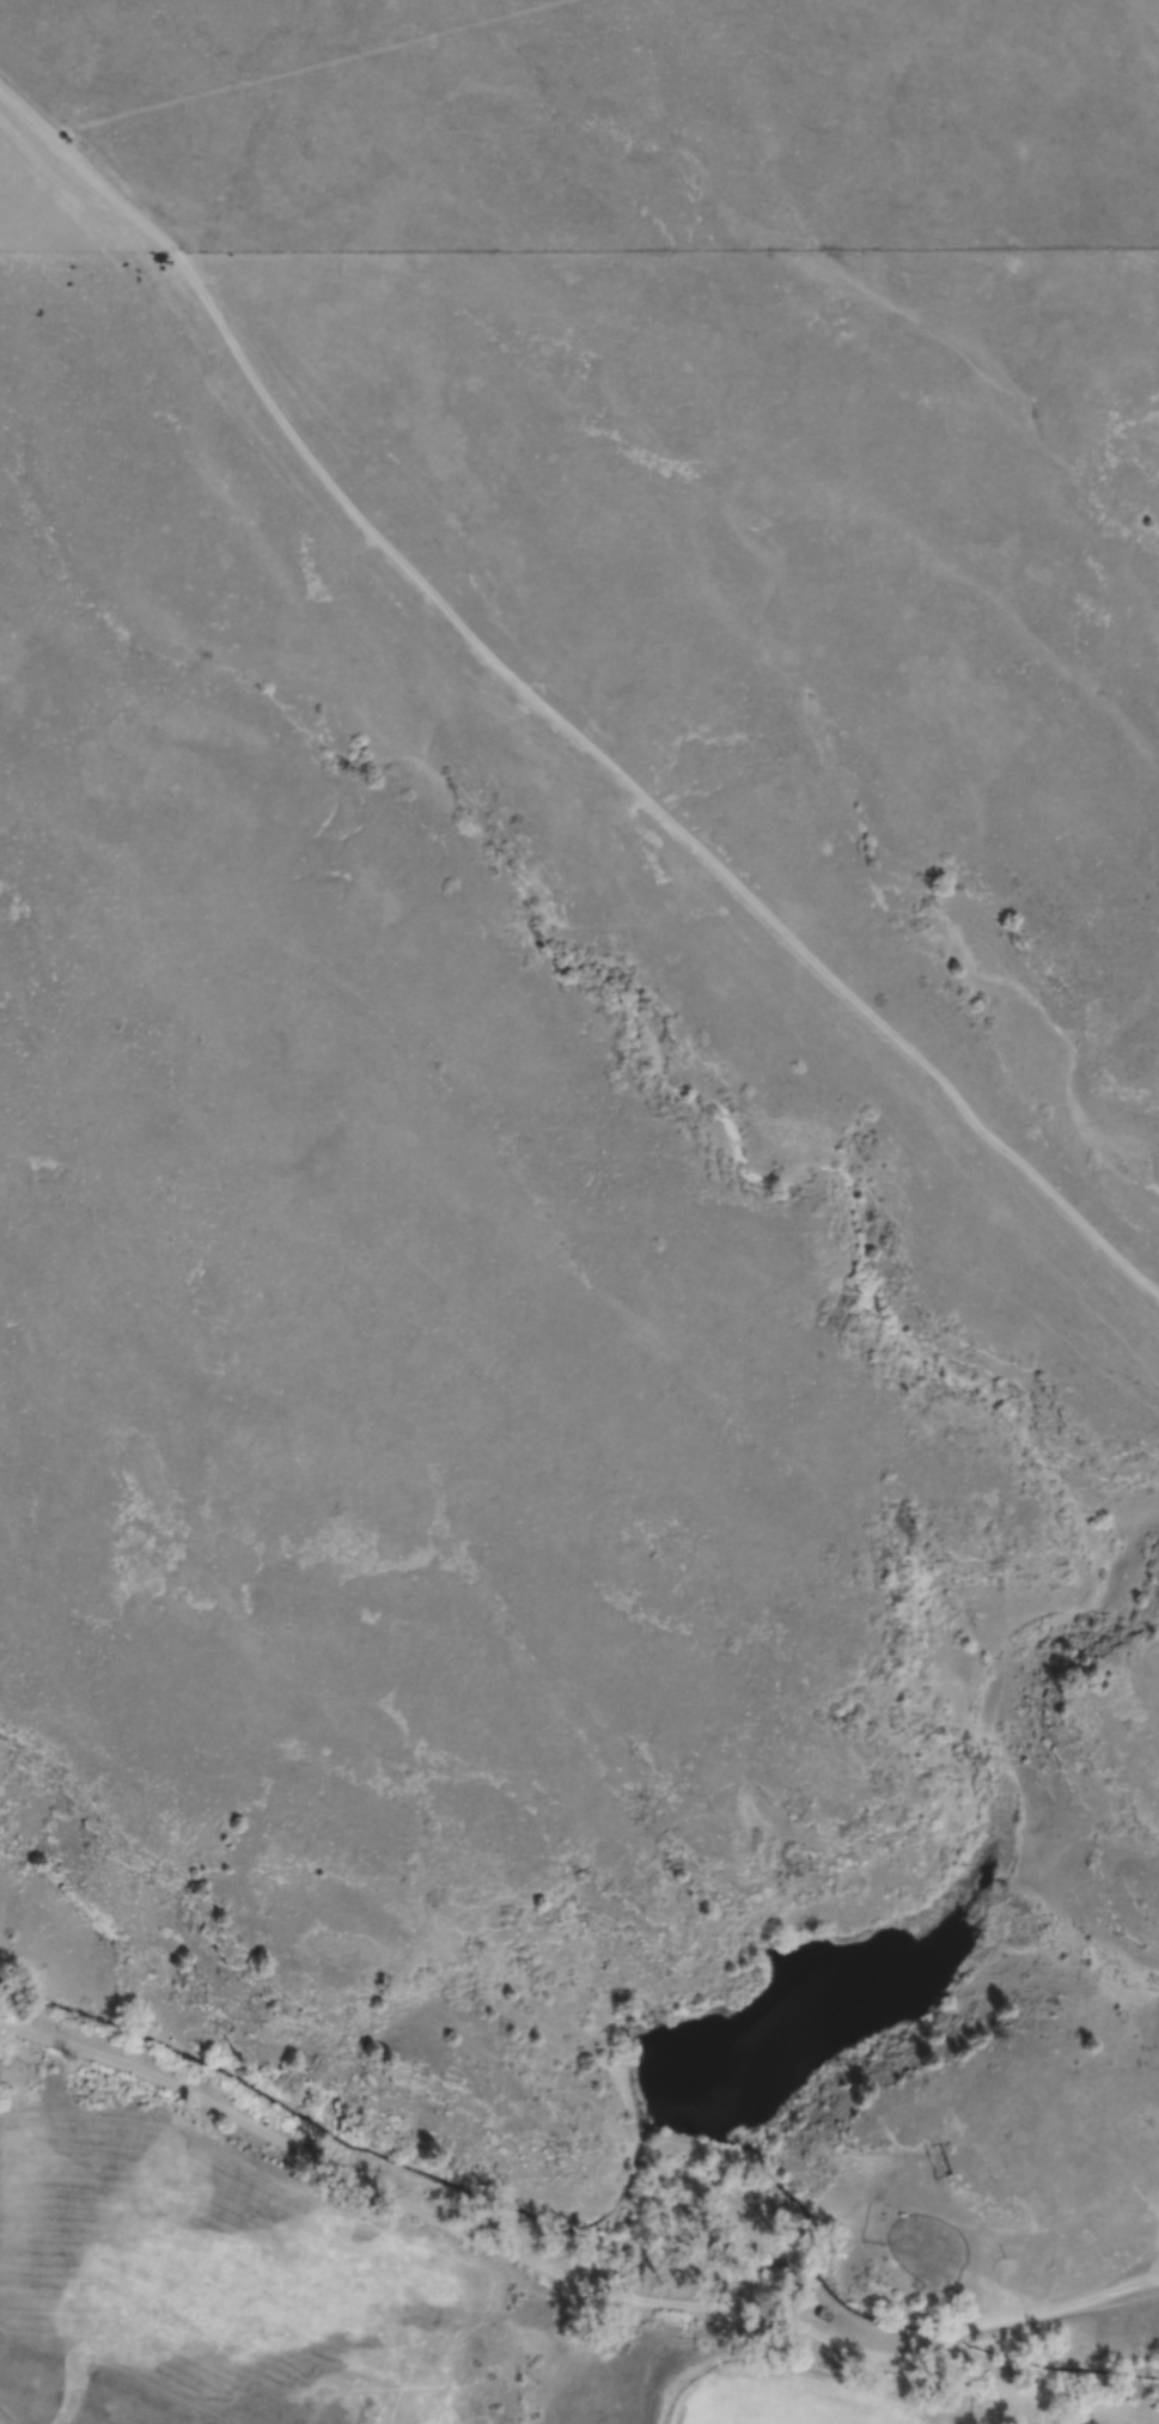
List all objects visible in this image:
road: (596, 2277)

